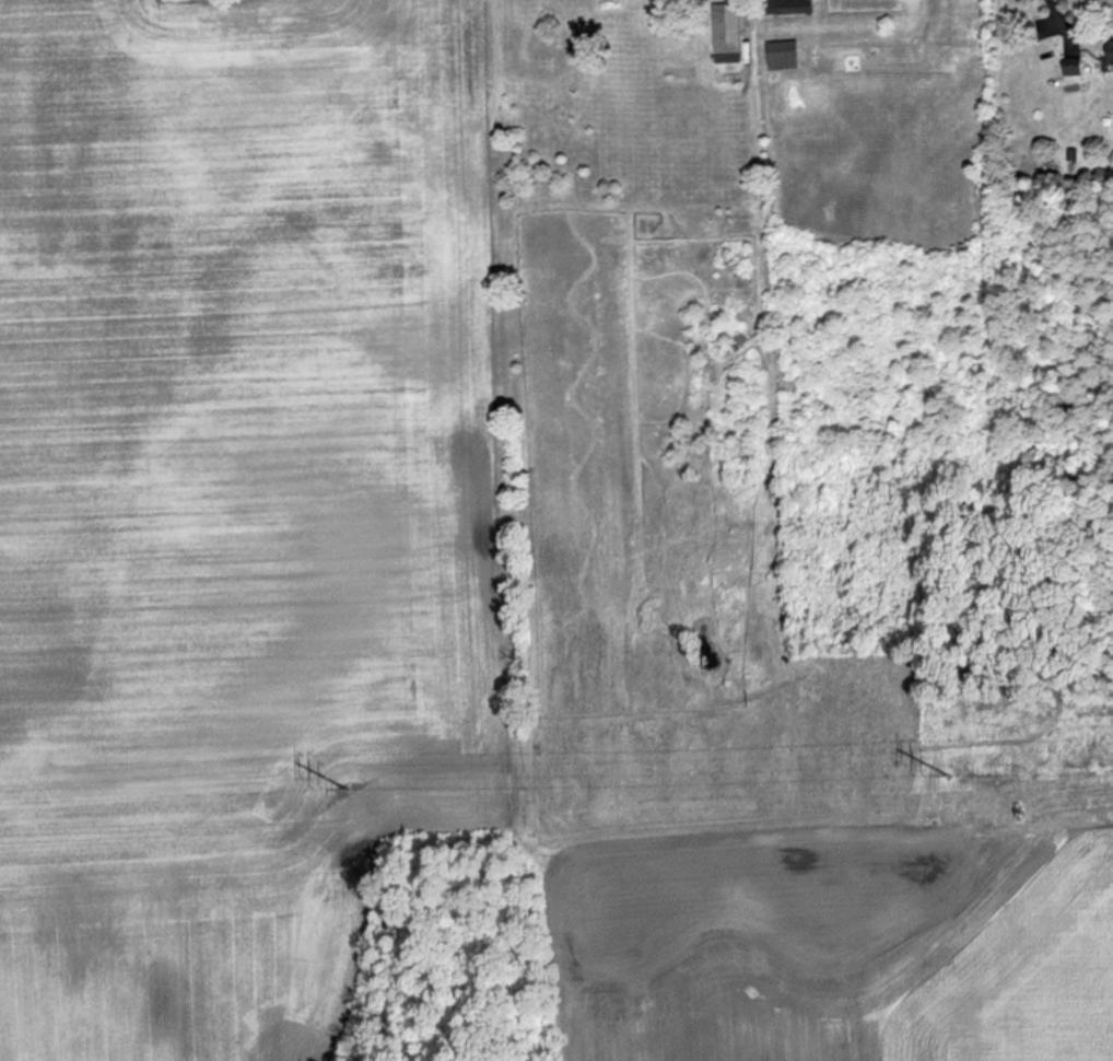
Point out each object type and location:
building: (784, 8)
road: (1053, 11)
building: (723, 33)
building: (1105, 51)
building: (780, 55)
building: (1066, 71)
power tower: (949, 783)
power tower: (351, 798)

